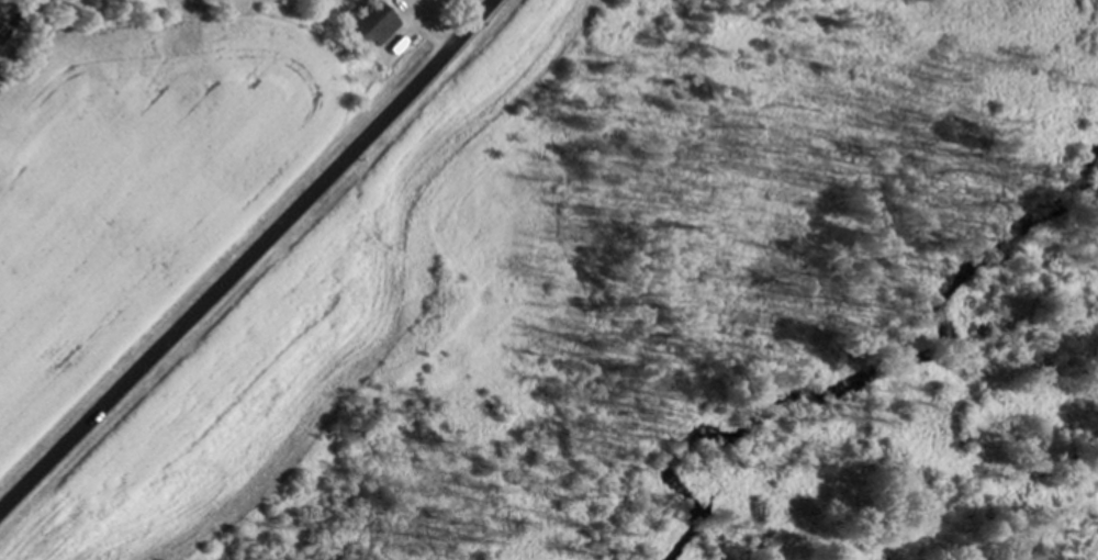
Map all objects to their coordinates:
road: (13, 19)
building: (369, 27)
road: (249, 258)
river: (861, 378)

